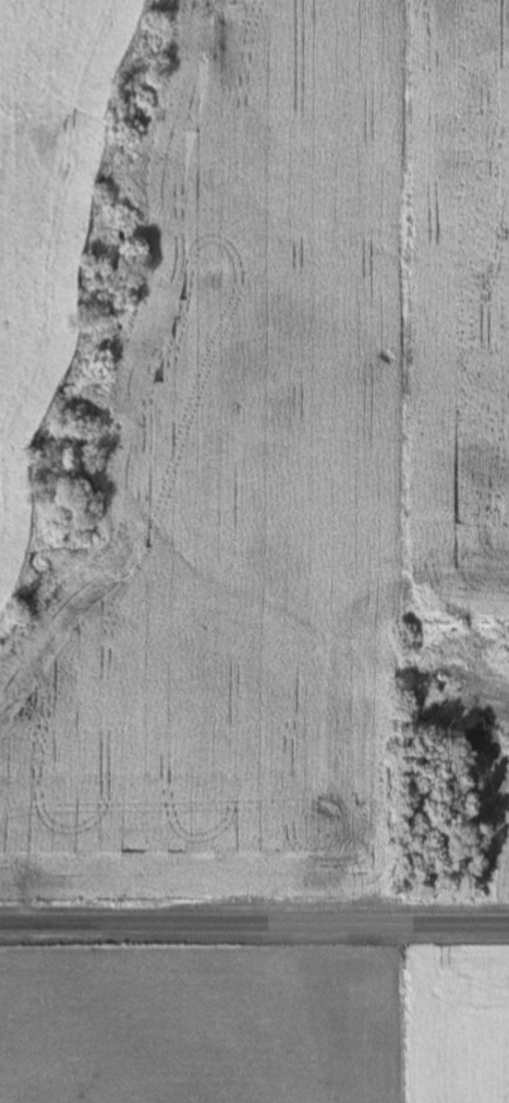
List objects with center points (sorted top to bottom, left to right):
road: (254, 922)

